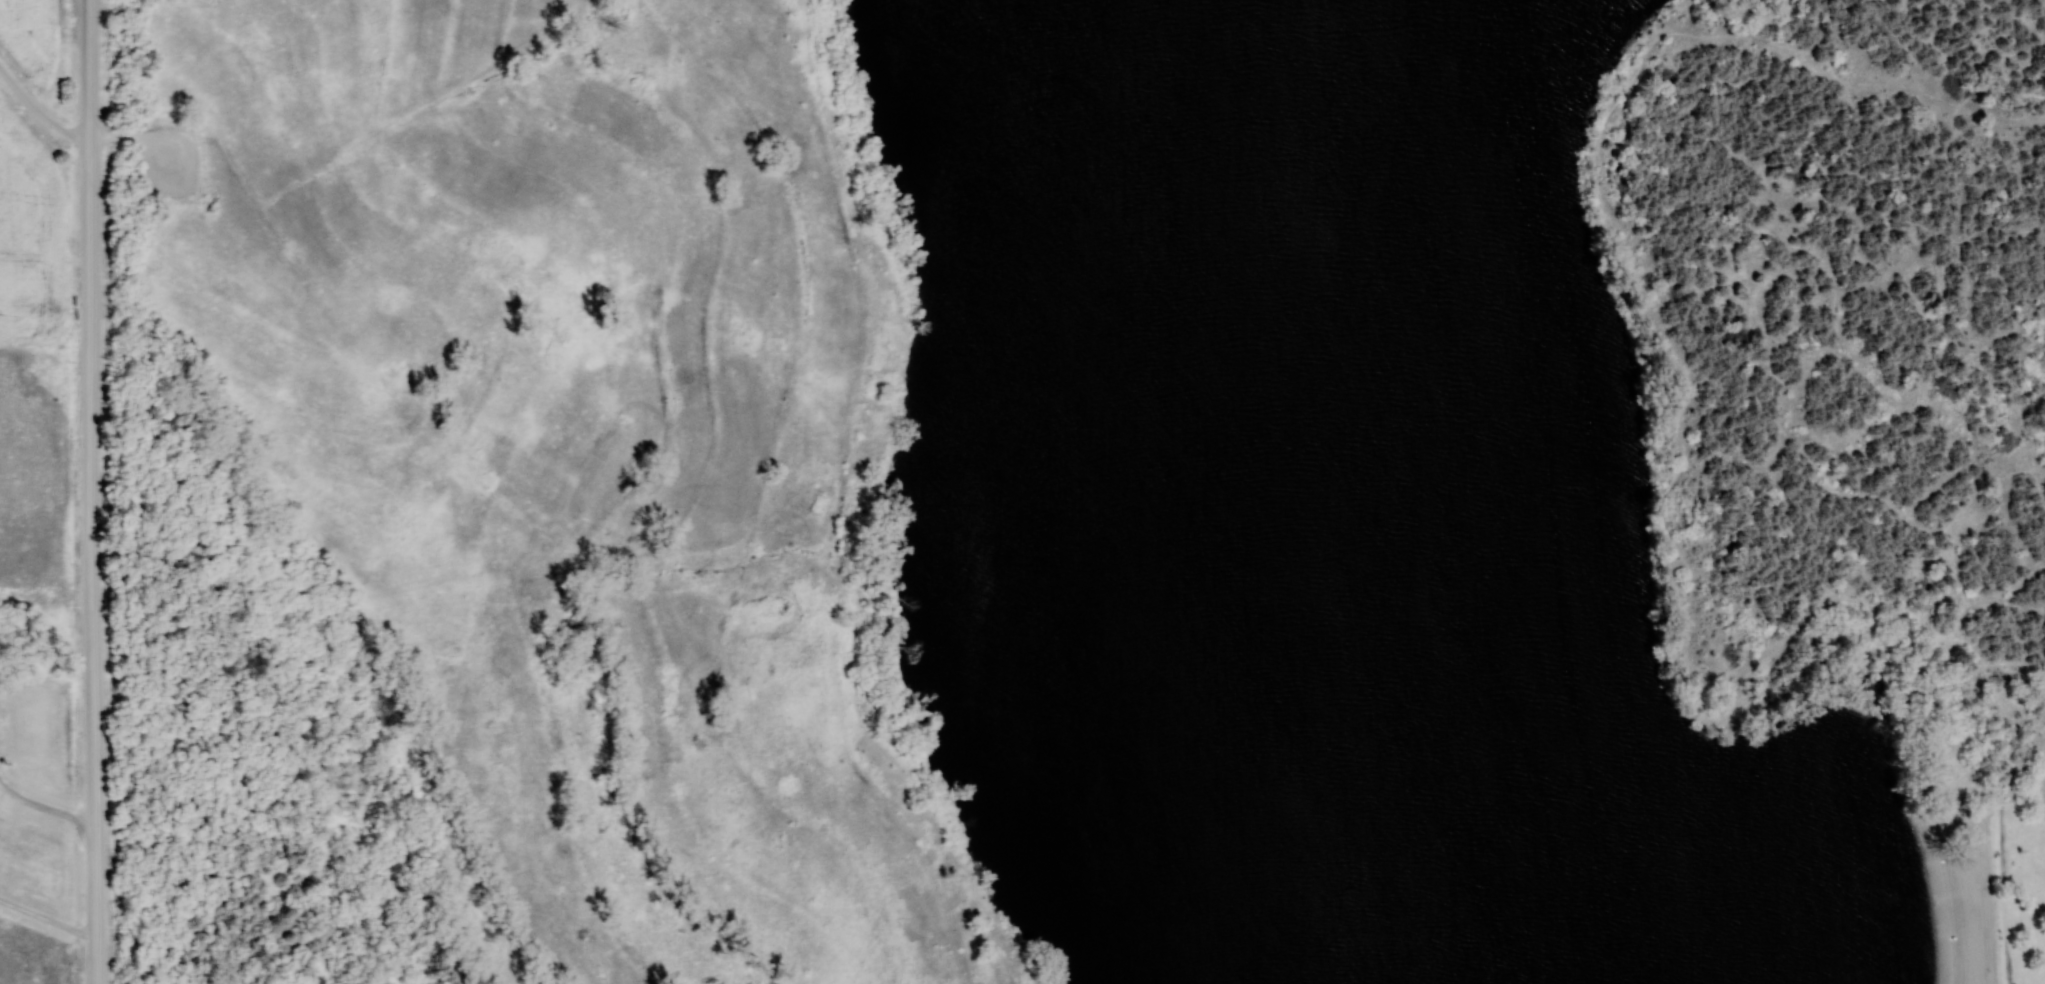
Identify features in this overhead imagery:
road: (1762, 37)
road: (1662, 48)
road: (1969, 62)
road: (1687, 99)
road: (126, 135)
parking lot: (168, 160)
road: (171, 164)
road: (1682, 399)
park: (1478, 482)
road: (92, 491)
road: (1849, 525)
road: (2034, 572)
road: (1867, 603)
road: (2025, 605)
road: (2017, 625)
road: (2041, 637)
road: (2013, 658)
road: (2000, 706)
road: (2041, 764)
road: (1993, 796)
road: (1999, 872)

